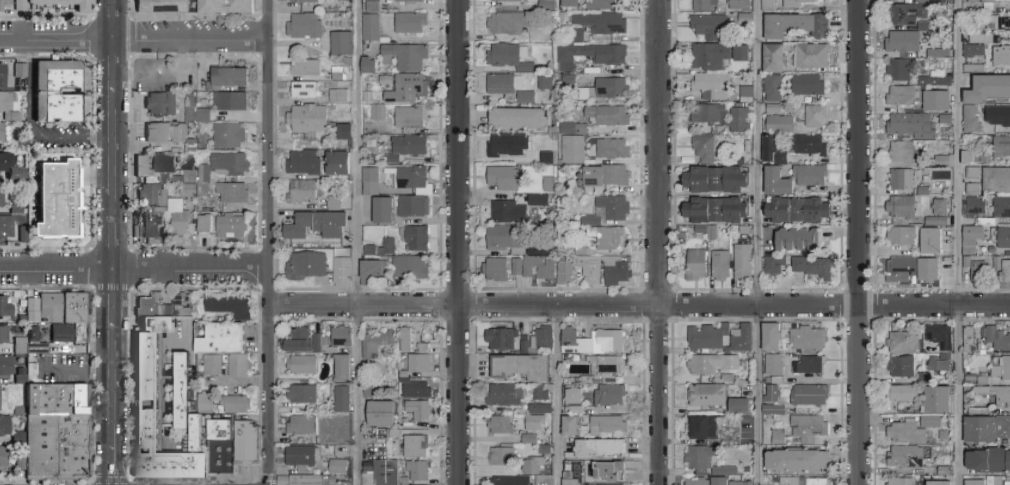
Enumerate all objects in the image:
building: (301, 0)
building: (417, 0)
building: (508, 1)
building: (4, 2)
building: (934, 2)
building: (801, 3)
building: (572, 4)
building: (992, 4)
building: (371, 5)
building: (604, 5)
building: (706, 5)
building: (741, 5)
building: (79, 6)
building: (166, 6)
building: (549, 6)
building: (770, 6)
building: (230, 7)
building: (908, 15)
road: (115, 19)
building: (747, 19)
building: (409, 22)
building: (604, 24)
building: (999, 24)
building: (303, 25)
building: (512, 25)
building: (370, 26)
building: (799, 27)
building: (924, 27)
building: (712, 28)
road: (133, 38)
building: (577, 38)
building: (976, 38)
building: (986, 40)
building: (340, 42)
building: (904, 44)
building: (739, 51)
building: (975, 52)
building: (940, 55)
building: (404, 56)
building: (593, 56)
building: (707, 57)
building: (813, 57)
building: (1002, 57)
building: (511, 59)
building: (775, 60)
road: (115, 64)
building: (367, 64)
building: (304, 67)
building: (19, 69)
building: (741, 69)
building: (976, 70)
building: (902, 71)
building: (1, 74)
building: (228, 75)
building: (936, 82)
building: (569, 83)
building: (166, 84)
building: (547, 84)
building: (505, 85)
building: (809, 86)
building: (406, 87)
building: (713, 87)
building: (303, 89)
building: (774, 89)
building: (608, 91)
building: (988, 91)
building: (64, 92)
building: (747, 96)
building: (909, 97)
building: (527, 99)
building: (229, 100)
building: (938, 103)
building: (7, 105)
building: (194, 109)
building: (775, 110)
building: (376, 111)
building: (410, 115)
building: (710, 116)
building: (1000, 116)
building: (307, 117)
building: (609, 117)
building: (817, 117)
building: (520, 120)
building: (947, 121)
building: (741, 122)
building: (973, 122)
road: (31, 125)
building: (781, 126)
building: (914, 126)
building: (1, 130)
building: (343, 130)
building: (574, 130)
building: (164, 131)
building: (227, 134)
building: (505, 147)
building: (811, 147)
building: (1002, 149)
building: (614, 150)
building: (706, 150)
building: (574, 151)
building: (904, 152)
road: (115, 153)
building: (775, 153)
building: (975, 159)
building: (548, 160)
building: (302, 161)
building: (336, 162)
building: (593, 163)
building: (937, 164)
building: (222, 165)
building: (153, 166)
building: (11, 168)
building: (975, 174)
building: (188, 176)
building: (607, 177)
building: (812, 177)
building: (412, 179)
building: (505, 179)
building: (369, 180)
building: (903, 181)
building: (718, 182)
building: (997, 182)
building: (779, 183)
building: (550, 186)
building: (301, 190)
building: (975, 191)
building: (231, 192)
building: (925, 192)
building: (150, 193)
building: (0, 195)
building: (58, 198)
building: (333, 202)
building: (540, 202)
building: (411, 205)
building: (976, 208)
building: (381, 209)
building: (904, 209)
building: (941, 209)
building: (1002, 209)
building: (718, 212)
building: (799, 212)
building: (610, 213)
building: (510, 214)
building: (177, 216)
building: (150, 223)
building: (938, 223)
building: (988, 223)
building: (315, 224)
building: (5, 225)
building: (203, 225)
building: (230, 225)
building: (703, 231)
building: (746, 232)
building: (975, 235)
building: (415, 237)
building: (903, 237)
building: (1004, 239)
building: (610, 240)
building: (509, 241)
road: (115, 242)
road: (266, 242)
road: (355, 242)
road: (456, 242)
road: (657, 242)
road: (757, 242)
building: (799, 242)
road: (857, 242)
road: (957, 242)
building: (932, 243)
building: (386, 245)
building: (970, 249)
building: (540, 252)
building: (584, 253)
building: (968, 264)
building: (306, 265)
building: (734, 265)
building: (998, 265)
building: (408, 266)
building: (698, 266)
building: (776, 266)
road: (132, 268)
building: (519, 268)
building: (542, 269)
building: (815, 269)
building: (341, 271)
building: (370, 271)
building: (498, 271)
building: (606, 271)
building: (903, 271)
building: (931, 272)
building: (565, 273)
building: (980, 273)
building: (1006, 274)
road: (115, 297)
building: (151, 304)
building: (182, 304)
road: (638, 304)
building: (4, 305)
building: (228, 305)
building: (30, 308)
building: (51, 308)
building: (75, 310)
building: (158, 324)
building: (3, 333)
building: (70, 335)
building: (340, 336)
building: (795, 337)
building: (942, 337)
building: (711, 338)
building: (404, 339)
building: (744, 339)
building: (970, 339)
building: (998, 339)
building: (222, 340)
building: (297, 340)
building: (503, 340)
building: (374, 341)
building: (540, 341)
building: (37, 342)
building: (319, 343)
building: (523, 343)
building: (595, 343)
building: (905, 343)
building: (28, 344)
building: (983, 346)
building: (947, 357)
building: (419, 358)
building: (4, 364)
building: (211, 364)
building: (237, 364)
building: (301, 364)
building: (714, 364)
building: (776, 365)
building: (812, 365)
building: (607, 366)
building: (940, 366)
building: (69, 367)
building: (340, 367)
building: (522, 367)
building: (903, 367)
building: (1002, 369)
road: (78, 370)
building: (973, 378)
building: (729, 379)
building: (926, 379)
building: (589, 381)
building: (779, 381)
building: (985, 381)
road: (115, 386)
building: (415, 389)
building: (183, 391)
building: (301, 393)
building: (542, 394)
building: (904, 394)
building: (996, 394)
road: (556, 395)
building: (774, 395)
building: (509, 396)
building: (612, 396)
building: (710, 396)
building: (812, 396)
building: (2, 397)
building: (340, 397)
building: (575, 397)
building: (938, 400)
building: (65, 401)
building: (204, 401)
building: (234, 403)
building: (741, 406)
building: (417, 410)
building: (542, 410)
building: (775, 410)
building: (575, 411)
building: (981, 412)
building: (379, 413)
building: (155, 419)
building: (931, 422)
building: (4, 424)
building: (300, 424)
building: (536, 424)
building: (503, 426)
building: (609, 426)
building: (573, 427)
building: (708, 428)
building: (811, 428)
building: (217, 429)
building: (987, 430)
building: (197, 433)
building: (908, 433)
building: (945, 436)
building: (18, 437)
building: (780, 438)
building: (531, 440)
building: (249, 444)
building: (414, 445)
building: (60, 447)
building: (599, 449)
building: (547, 450)
building: (2, 455)
building: (301, 457)
building: (504, 457)
building: (907, 458)
building: (704, 459)
building: (800, 461)
building: (990, 461)
road: (114, 465)
building: (593, 465)
building: (336, 466)
building: (534, 466)
building: (416, 470)
building: (613, 471)
building: (727, 472)
building: (947, 472)
building: (384, 475)
building: (575, 476)
road: (269, 477)
building: (328, 478)
road: (46, 479)
building: (305, 479)
road: (110, 480)
road: (192, 480)
building: (591, 480)
building: (513, 481)
building: (698, 481)
building: (723, 481)
building: (804, 481)
building: (996, 481)
road: (92, 482)
building: (902, 482)
building: (1008, 482)
building: (744, 483)
building: (976, 483)
building: (606, 484)
building: (775, 484)
building: (941, 484)

